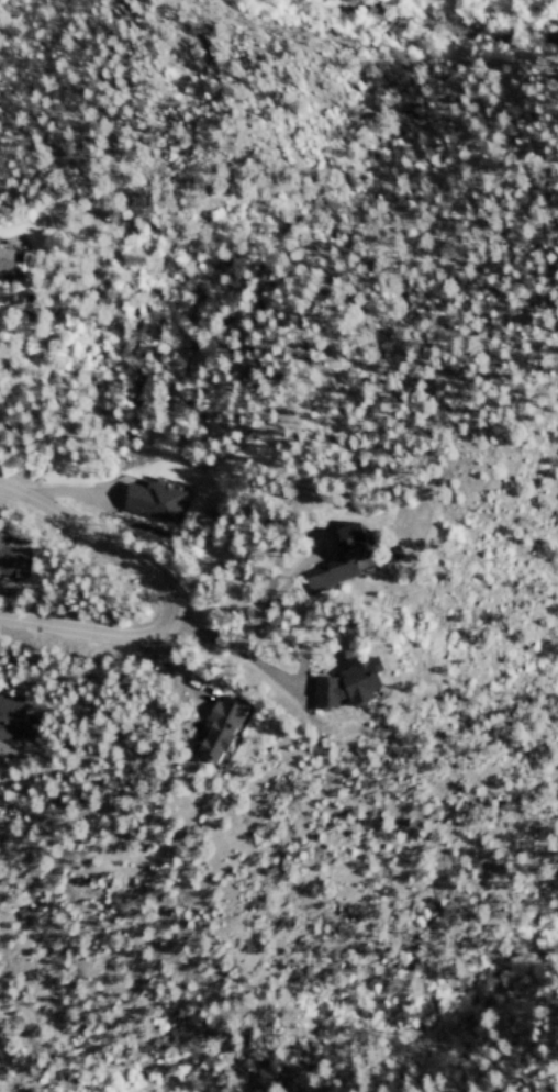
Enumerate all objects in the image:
building: (9, 268)
building: (152, 506)
building: (353, 567)
road: (174, 600)
building: (349, 694)
building: (13, 727)
building: (221, 739)

